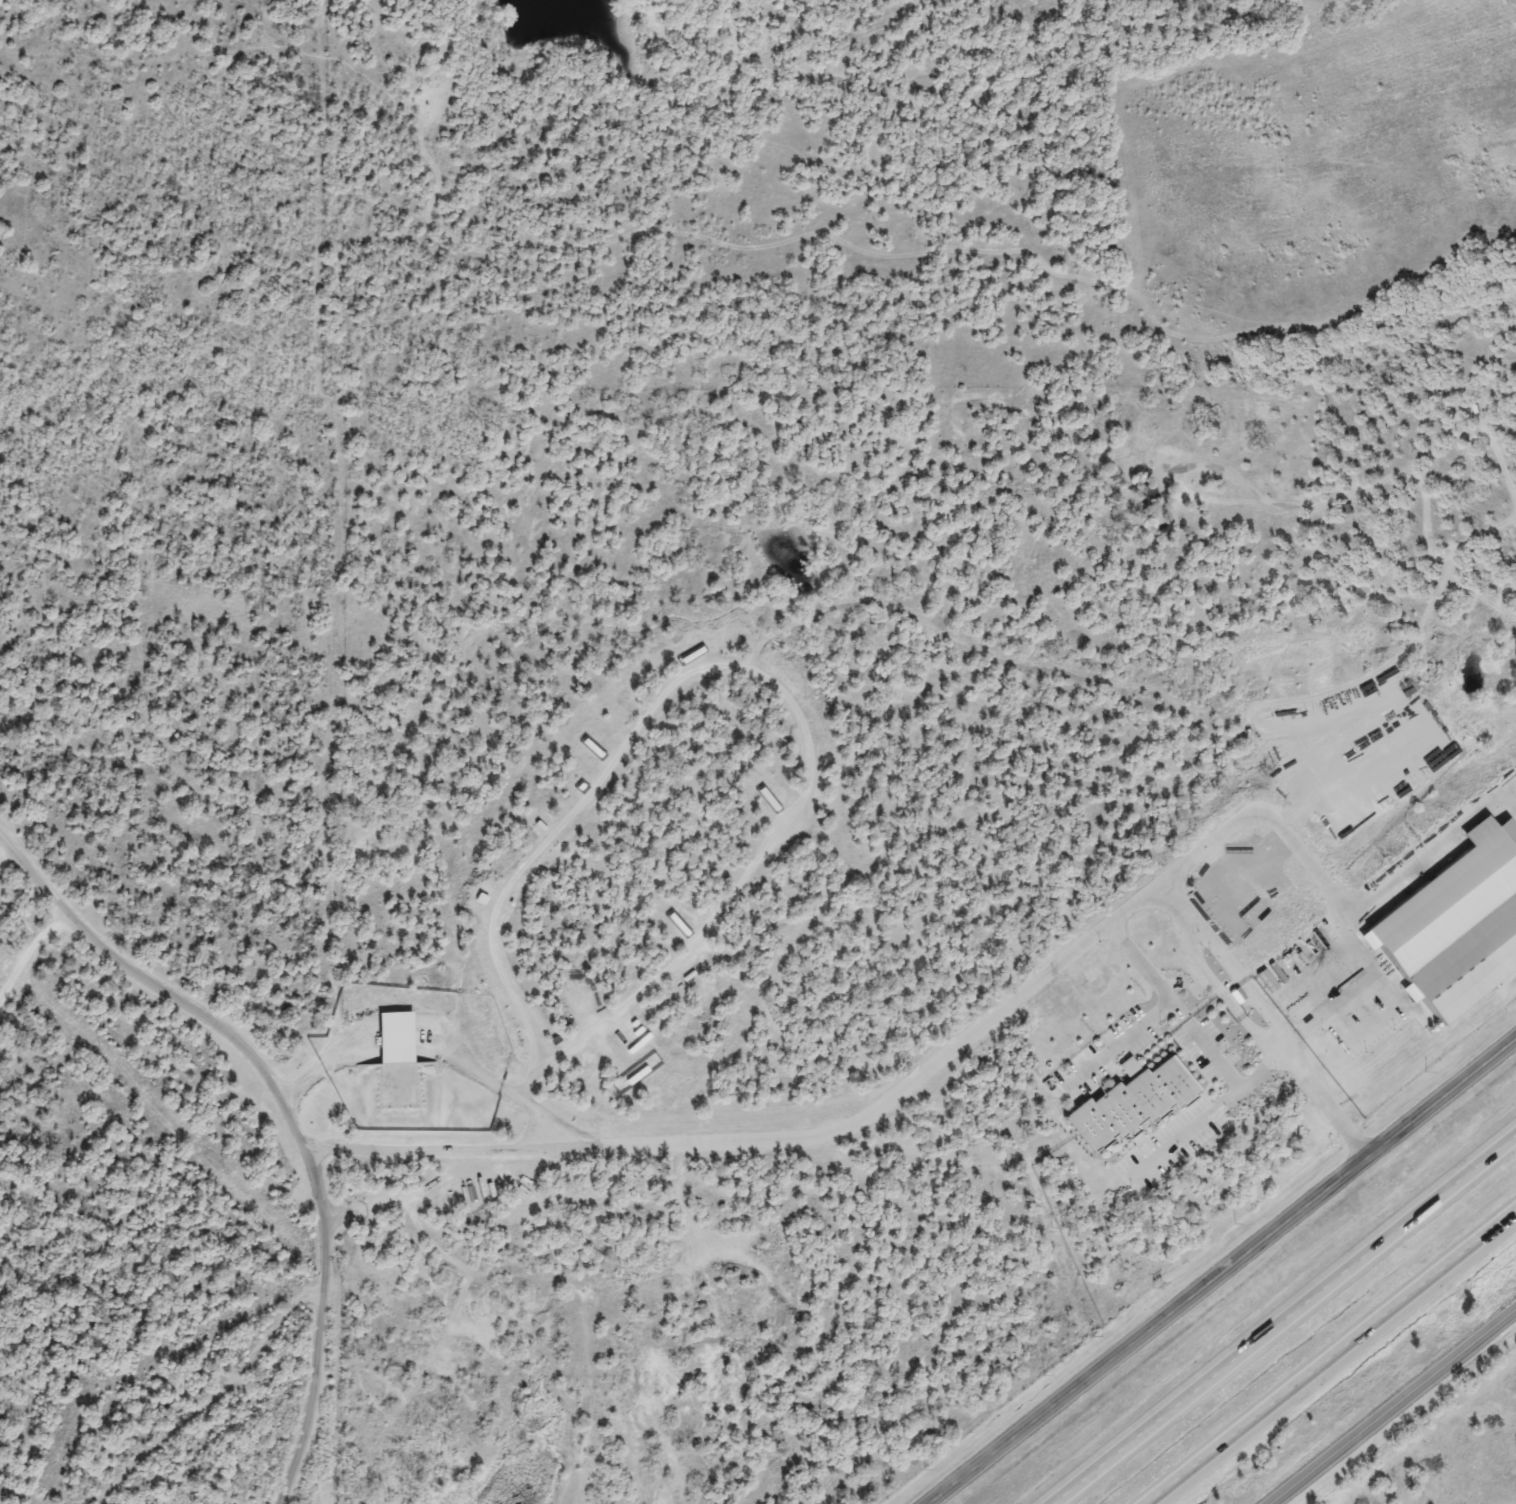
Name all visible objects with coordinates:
road: (737, 667)
road: (1508, 792)
road: (1267, 821)
road: (1172, 911)
building: (1453, 914)
building: (673, 921)
road: (1279, 926)
road: (1189, 933)
road: (397, 1023)
road: (1116, 1041)
road: (1200, 1044)
road: (327, 1059)
road: (1260, 1064)
building: (637, 1075)
road: (487, 1079)
road: (522, 1147)
road: (1217, 1266)
road: (1284, 1318)
road: (313, 1319)
road: (1331, 1356)
road: (1390, 1404)

